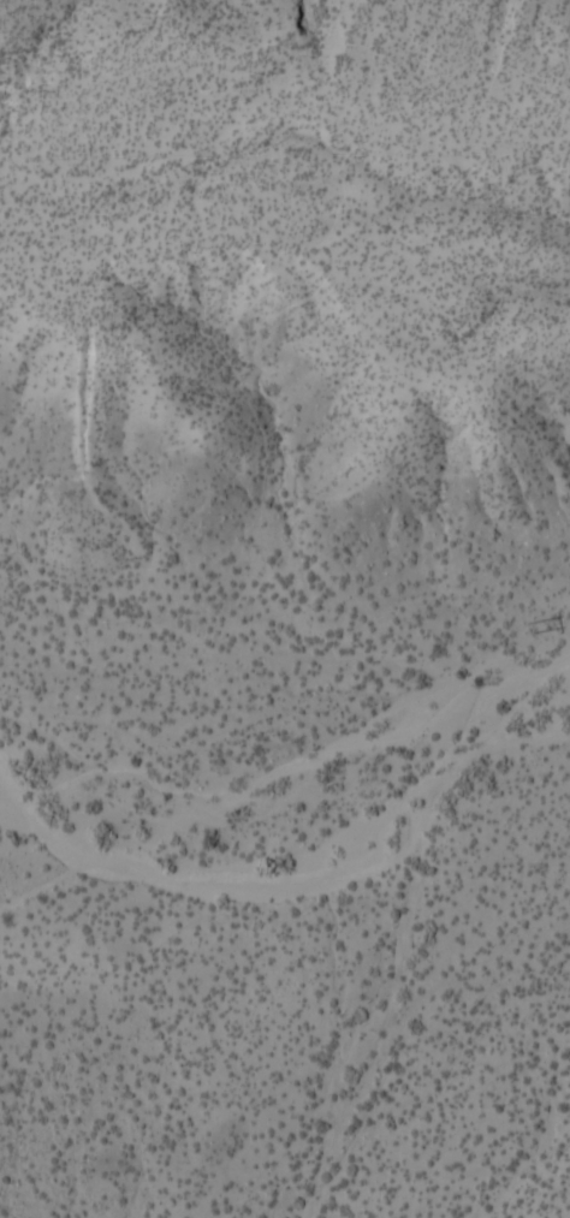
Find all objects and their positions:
power tower: (528, 634)

